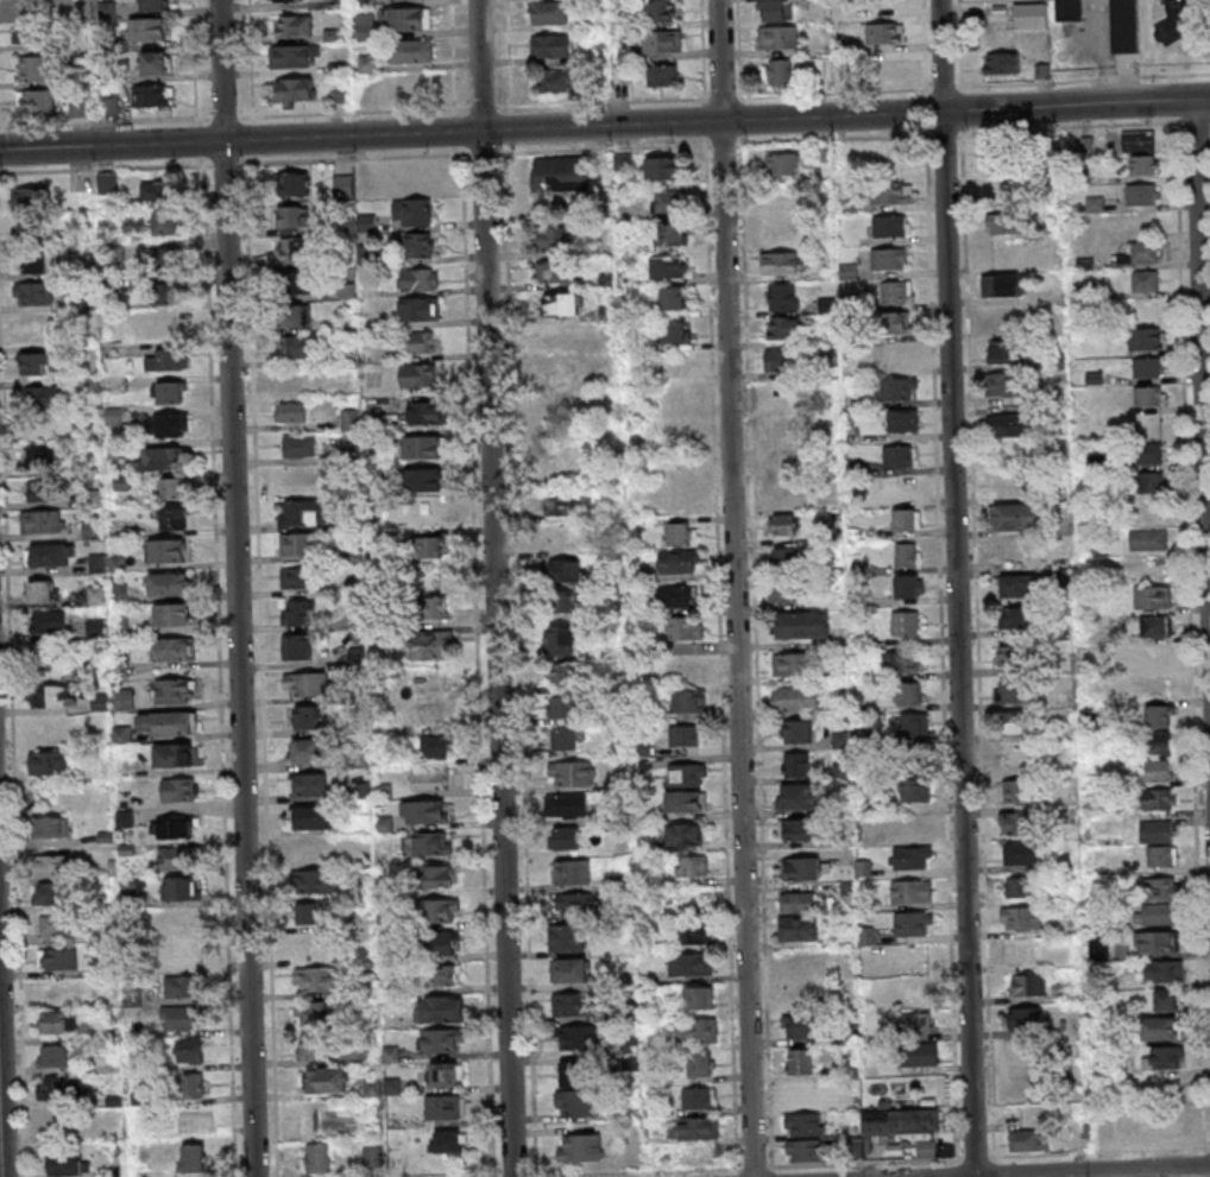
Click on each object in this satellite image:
building: (288, 0)
building: (26, 5)
building: (153, 5)
building: (661, 10)
building: (777, 10)
building: (1067, 10)
building: (550, 12)
building: (1031, 15)
building: (408, 17)
building: (294, 25)
building: (366, 26)
building: (1124, 26)
building: (147, 29)
road: (1191, 29)
building: (27, 32)
building: (884, 33)
park: (1178, 33)
building: (779, 37)
building: (662, 40)
building: (550, 45)
building: (410, 50)
building: (295, 56)
building: (153, 62)
building: (1000, 63)
building: (890, 65)
building: (31, 68)
building: (779, 71)
building: (662, 75)
road: (1164, 75)
building: (555, 80)
building: (296, 89)
building: (151, 95)
building: (34, 101)
building: (77, 107)
road: (605, 125)
building: (1137, 140)
building: (1001, 158)
building: (781, 164)
building: (1146, 164)
building: (663, 167)
building: (561, 173)
building: (107, 183)
building: (294, 183)
building: (158, 191)
building: (998, 191)
building: (893, 192)
building: (1141, 195)
building: (29, 197)
building: (668, 200)
building: (1095, 203)
building: (412, 211)
building: (294, 217)
building: (169, 221)
building: (365, 221)
building: (1002, 223)
building: (890, 226)
building: (32, 228)
building: (672, 233)
building: (557, 239)
building: (418, 245)
building: (290, 251)
building: (1145, 251)
building: (168, 257)
building: (889, 259)
building: (33, 261)
building: (780, 262)
building: (667, 266)
building: (555, 271)
building: (420, 279)
building: (1145, 280)
building: (295, 283)
building: (1001, 285)
building: (895, 291)
building: (32, 292)
building: (166, 292)
building: (783, 296)
building: (673, 298)
building: (561, 304)
building: (418, 309)
building: (294, 315)
building: (1004, 319)
building: (894, 322)
building: (163, 325)
building: (786, 328)
building: (678, 331)
building: (1146, 338)
building: (417, 342)
building: (296, 347)
building: (1006, 353)
building: (168, 360)
building: (777, 360)
building: (36, 363)
building: (1147, 367)
building: (555, 373)
building: (418, 375)
road: (1202, 376)
building: (295, 380)
building: (1000, 384)
building: (351, 386)
building: (896, 388)
building: (169, 392)
building: (42, 396)
building: (1148, 396)
building: (291, 412)
building: (426, 412)
building: (349, 419)
building: (903, 420)
building: (170, 424)
building: (1006, 424)
building: (782, 425)
building: (300, 445)
building: (423, 447)
building: (1149, 453)
building: (38, 455)
building: (900, 455)
building: (159, 458)
building: (423, 479)
building: (1152, 481)
building: (171, 487)
building: (42, 491)
building: (782, 495)
building: (675, 501)
building: (563, 504)
building: (302, 512)
building: (427, 512)
building: (174, 517)
building: (1014, 517)
building: (907, 518)
building: (40, 521)
building: (783, 524)
building: (681, 532)
building: (560, 534)
building: (1148, 538)
building: (296, 543)
building: (427, 546)
building: (166, 549)
building: (1010, 549)
building: (50, 553)
building: (906, 555)
building: (786, 557)
building: (679, 561)
building: (565, 570)
building: (297, 577)
building: (169, 583)
building: (909, 586)
building: (1020, 586)
road: (235, 588)
road: (494, 588)
road: (735, 588)
road: (956, 588)
building: (40, 590)
building: (784, 591)
building: (676, 595)
building: (1152, 596)
building: (567, 602)
building: (436, 607)
building: (297, 612)
building: (171, 614)
building: (1015, 618)
building: (48, 620)
building: (905, 622)
building: (803, 625)
building: (1157, 625)
building: (685, 627)
building: (96, 628)
building: (561, 639)
building: (431, 644)
building: (296, 646)
building: (174, 648)
building: (1154, 653)
building: (1012, 654)
building: (45, 656)
building: (358, 656)
building: (901, 660)
building: (792, 664)
building: (569, 673)
building: (430, 681)
building: (309, 683)
building: (174, 690)
building: (1008, 690)
building: (910, 692)
building: (50, 695)
building: (798, 697)
building: (124, 698)
building: (689, 700)
building: (563, 705)
building: (430, 713)
building: (1158, 715)
building: (310, 716)
building: (1012, 721)
building: (168, 722)
building: (914, 724)
building: (798, 730)
building: (685, 735)
building: (568, 739)
building: (1159, 743)
building: (436, 746)
building: (307, 749)
building: (174, 755)
building: (48, 761)
building: (796, 765)
building: (1158, 770)
building: (842, 772)
building: (572, 773)
building: (687, 774)
building: (430, 777)
building: (308, 784)
building: (178, 789)
building: (915, 790)
building: (1017, 790)
building: (792, 796)
building: (1159, 798)
building: (686, 801)
building: (567, 804)
building: (424, 811)
building: (313, 817)
building: (1014, 822)
building: (50, 825)
building: (171, 825)
building: (799, 829)
building: (1155, 830)
building: (916, 831)
building: (685, 834)
building: (566, 837)
building: (426, 842)
building: (310, 849)
building: (1021, 853)
building: (1161, 855)
building: (364, 856)
building: (178, 858)
building: (913, 858)
building: (49, 866)
building: (692, 866)
building: (806, 868)
building: (863, 868)
building: (572, 872)
building: (436, 875)
building: (313, 881)
building: (1019, 886)
building: (181, 887)
building: (1164, 887)
building: (913, 891)
building: (50, 893)
building: (799, 901)
building: (574, 903)
building: (440, 910)
building: (308, 913)
building: (1157, 913)
building: (1021, 917)
building: (182, 918)
building: (908, 923)
building: (57, 925)
building: (799, 928)
building: (693, 932)
building: (567, 937)
building: (1154, 942)
building: (440, 943)
building: (1098, 948)
building: (187, 950)
building: (57, 958)
building: (802, 961)
building: (691, 964)
building: (569, 969)
building: (1164, 972)
building: (440, 975)
building: (315, 979)
building: (1028, 985)
building: (182, 986)
building: (57, 993)
building: (798, 996)
building: (699, 998)
building: (1167, 999)
building: (571, 1004)
building: (440, 1007)
building: (316, 1012)
building: (179, 1017)
building: (1023, 1018)
building: (53, 1021)
building: (916, 1023)
building: (800, 1026)
building: (1161, 1027)
building: (697, 1030)
building: (575, 1037)
building: (441, 1039)
building: (314, 1049)
building: (189, 1050)
building: (919, 1053)
building: (53, 1055)
building: (1164, 1057)
building: (801, 1061)
building: (701, 1063)
building: (446, 1074)
building: (576, 1074)
building: (326, 1080)
building: (191, 1084)
building: (64, 1088)
building: (805, 1090)
building: (697, 1097)
building: (578, 1102)
building: (443, 1106)
building: (901, 1121)
building: (805, 1124)
building: (1168, 1126)
building: (693, 1128)
building: (1027, 1139)
building: (447, 1140)
building: (580, 1147)
building: (926, 1147)
building: (803, 1151)
building: (372, 1156)
building: (395, 1156)
building: (191, 1157)
building: (317, 1157)
building: (67, 1164)
road: (1091, 1170)

